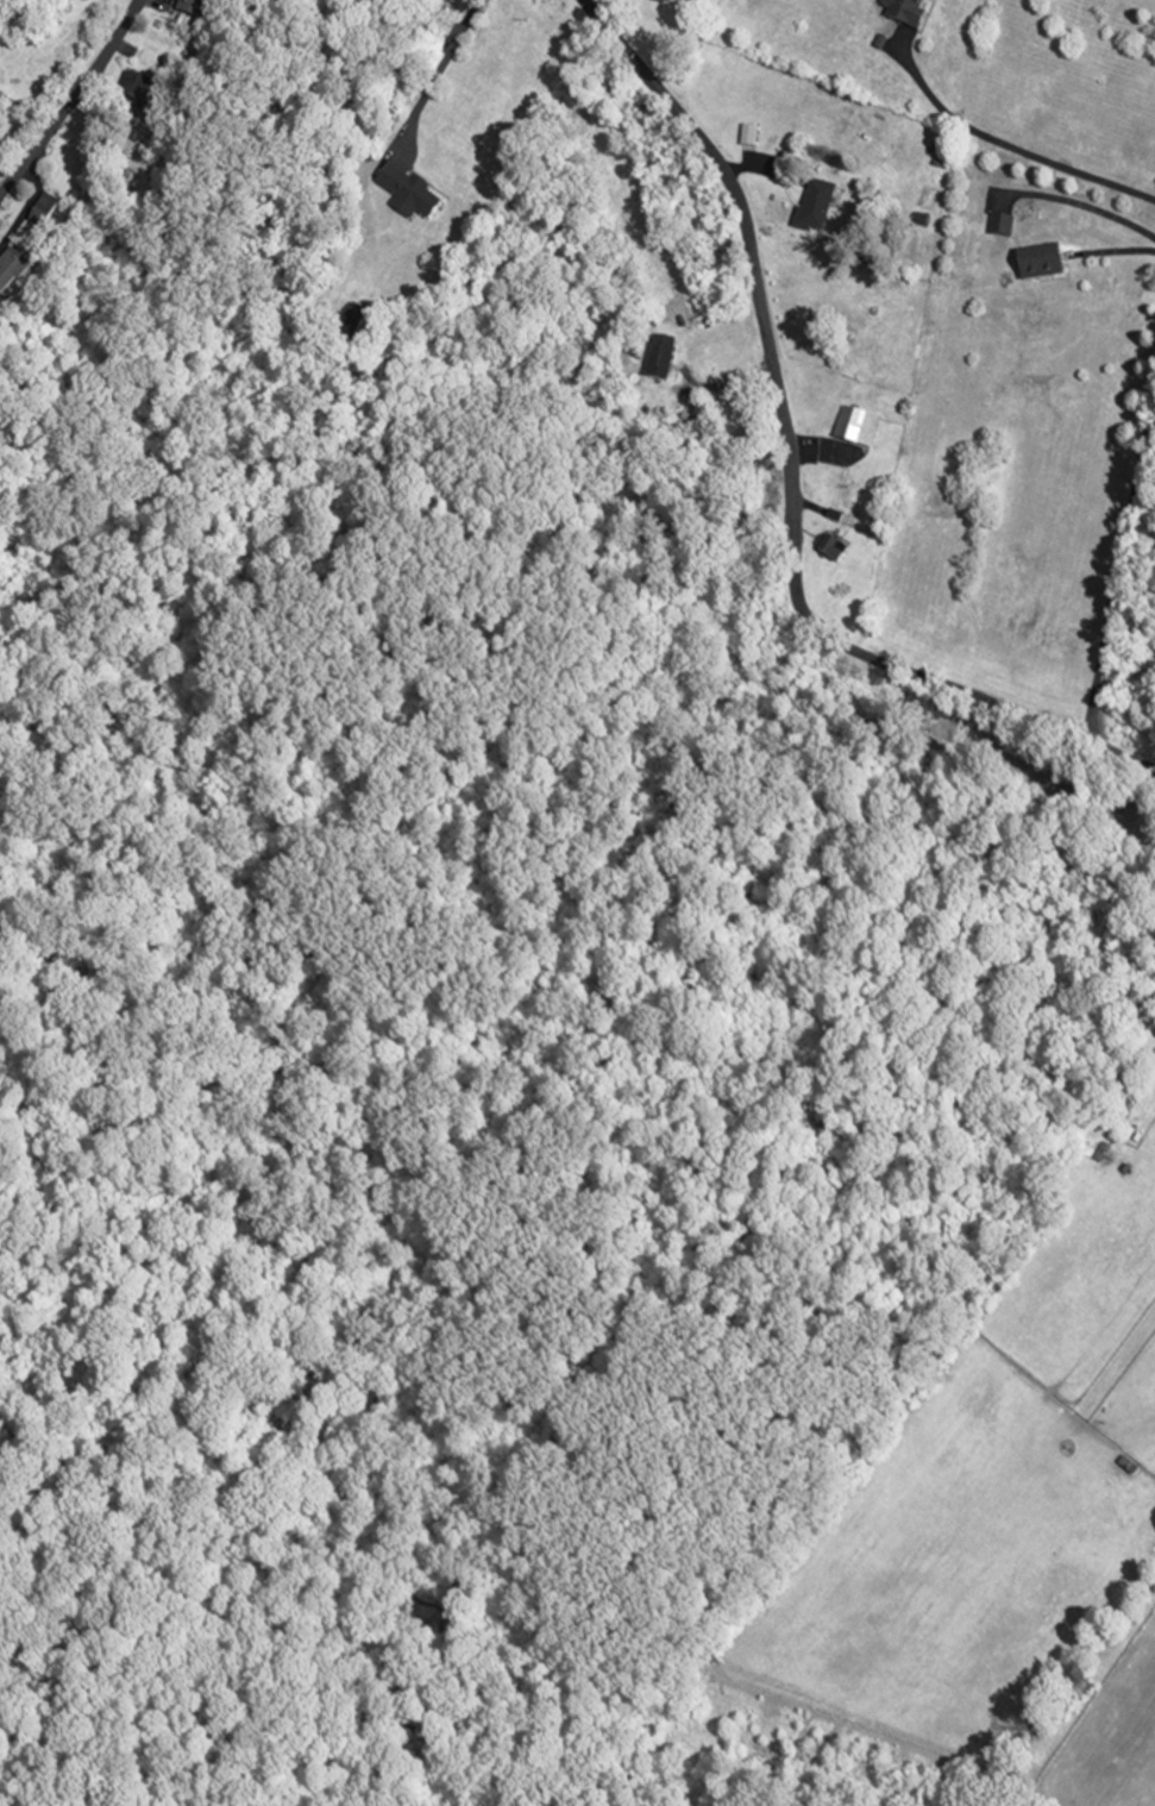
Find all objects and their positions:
building: (192, 7)
building: (906, 11)
road: (434, 75)
building: (136, 84)
road: (71, 98)
building: (747, 138)
road: (1009, 144)
road: (760, 169)
road: (5, 173)
building: (408, 192)
building: (45, 203)
road: (29, 205)
road: (1080, 205)
building: (815, 207)
building: (1003, 225)
road: (1115, 251)
building: (1043, 261)
building: (11, 269)
building: (352, 318)
building: (660, 356)
road: (723, 387)
building: (703, 418)
building: (858, 426)
road: (822, 457)
road: (790, 472)
road: (806, 504)
building: (836, 515)
building: (831, 546)
road: (1119, 563)
building: (1123, 1099)
building: (1101, 1152)

